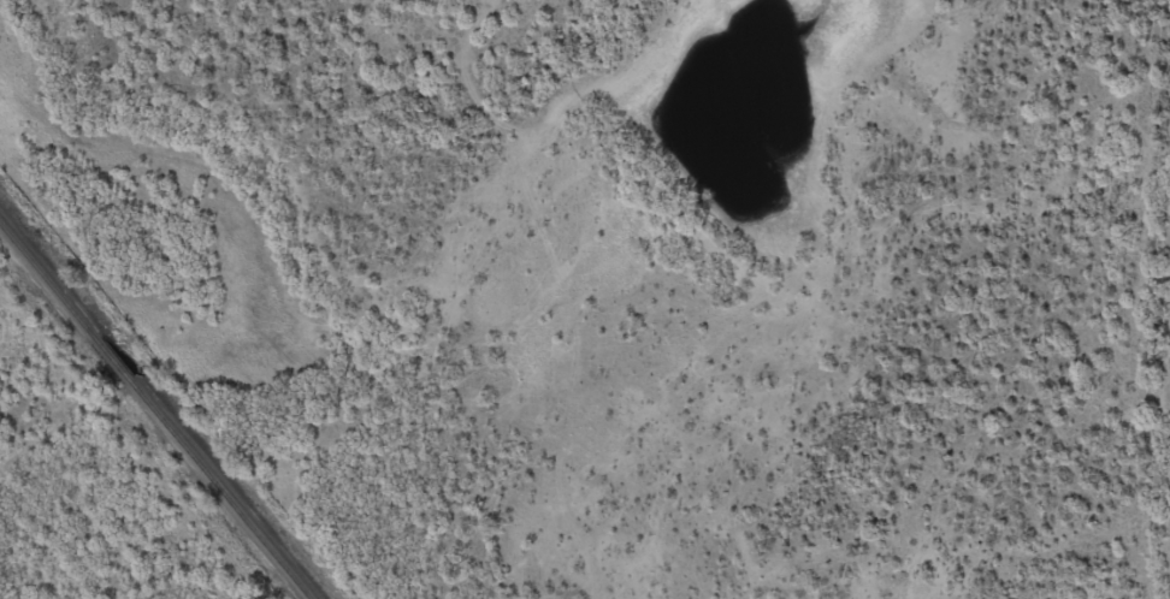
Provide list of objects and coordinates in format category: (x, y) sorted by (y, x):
railway: (154, 411)

